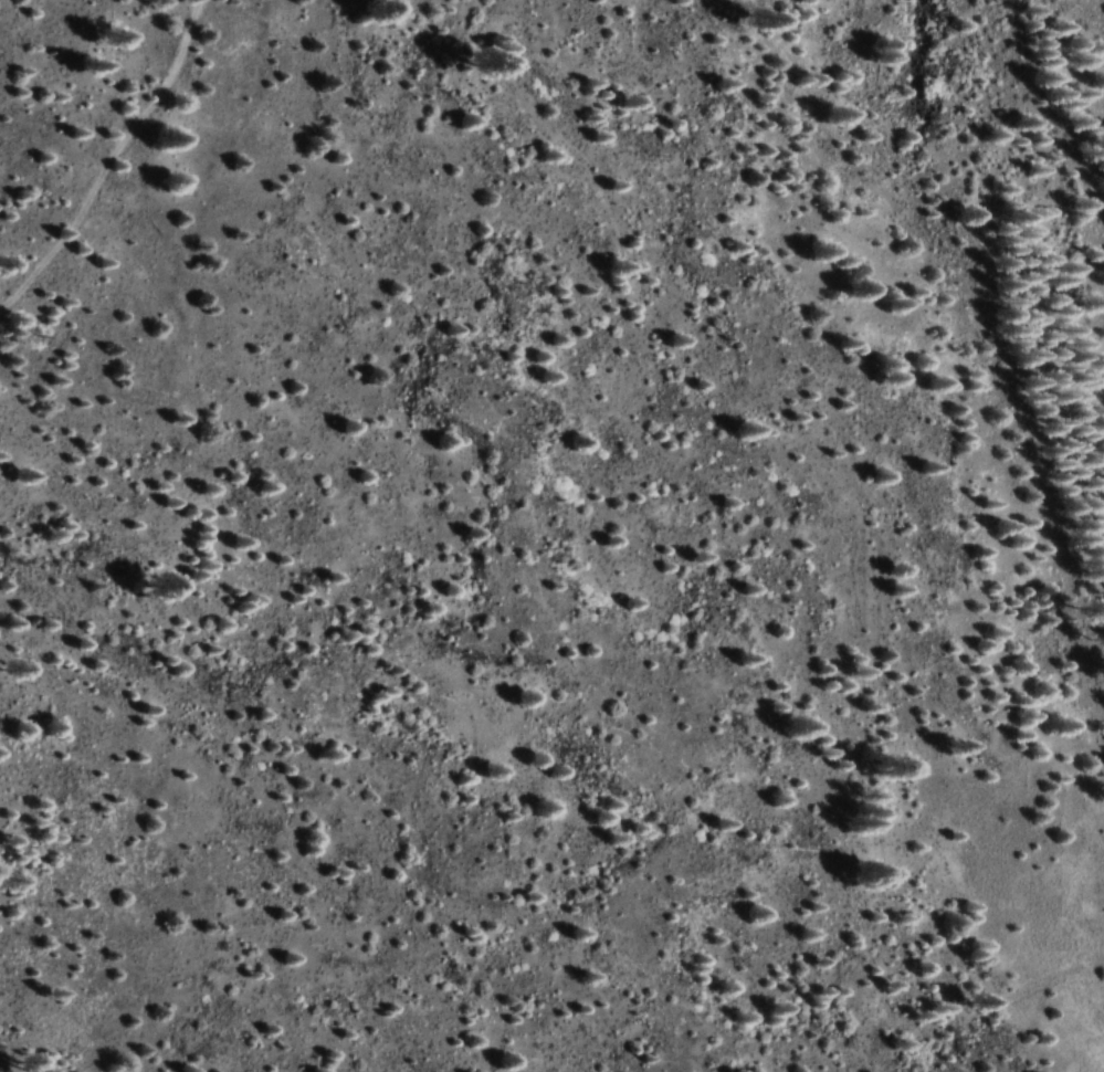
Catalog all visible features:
road: (117, 165)

